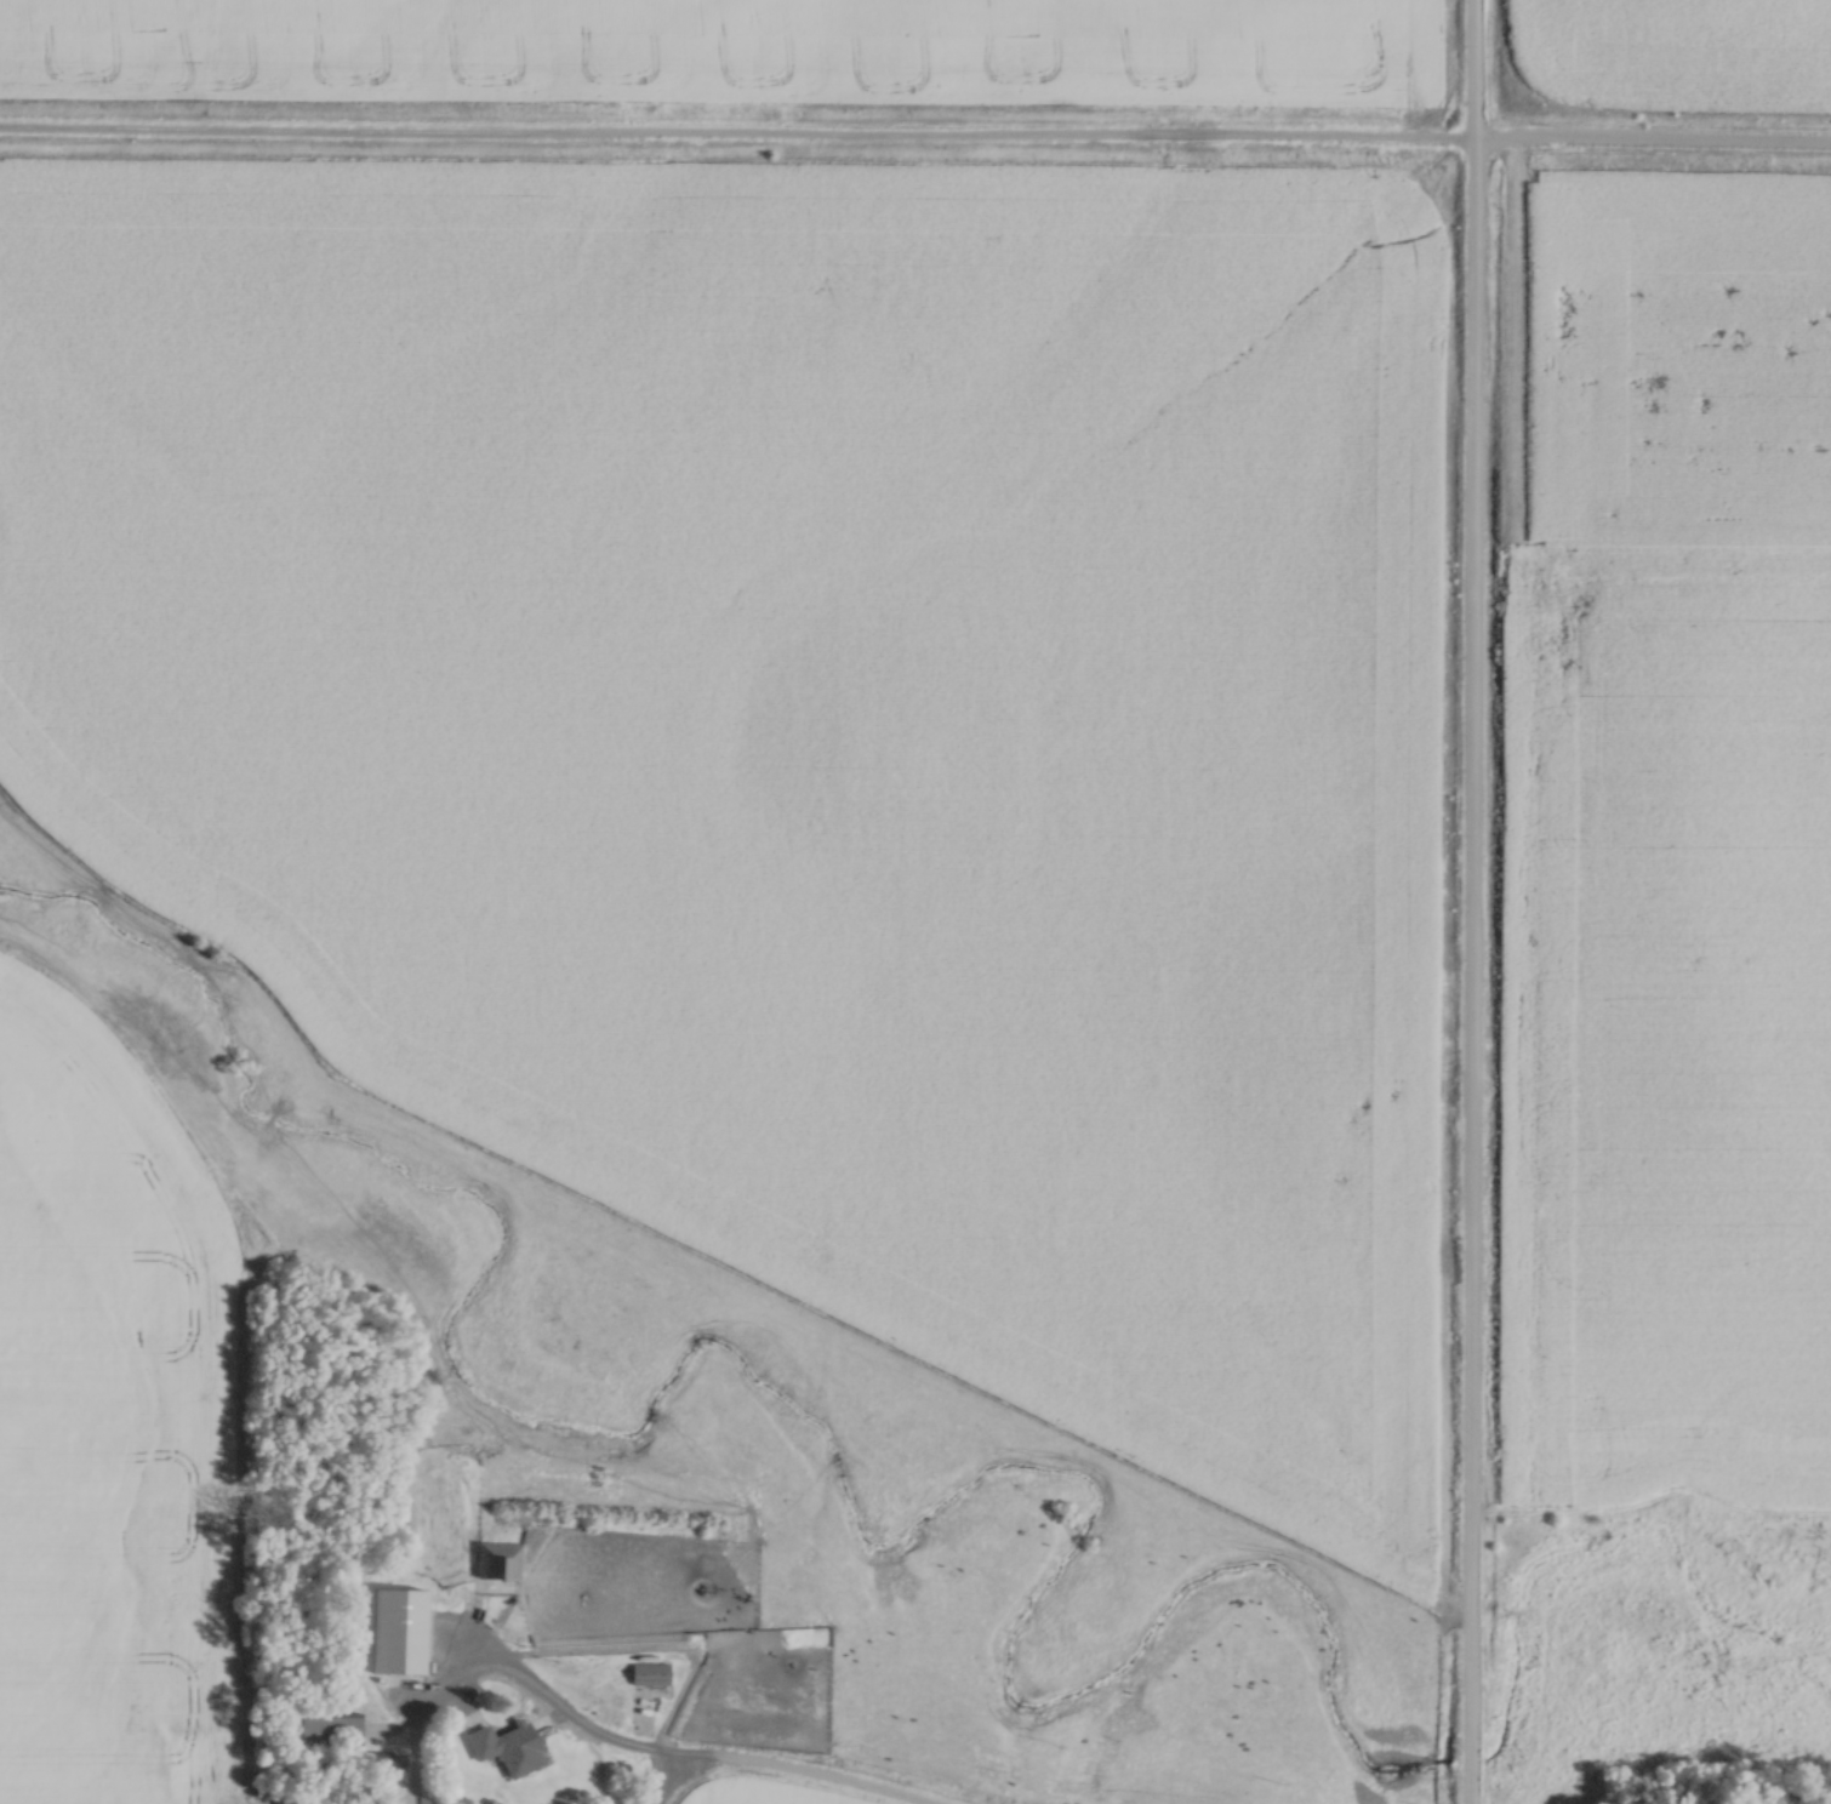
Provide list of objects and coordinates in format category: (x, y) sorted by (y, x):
road: (737, 137)
road: (1653, 147)
road: (1467, 902)
building: (496, 1563)
building: (390, 1632)
building: (649, 1673)
building: (324, 1731)
building: (497, 1749)
road: (669, 1758)
building: (373, 1760)

